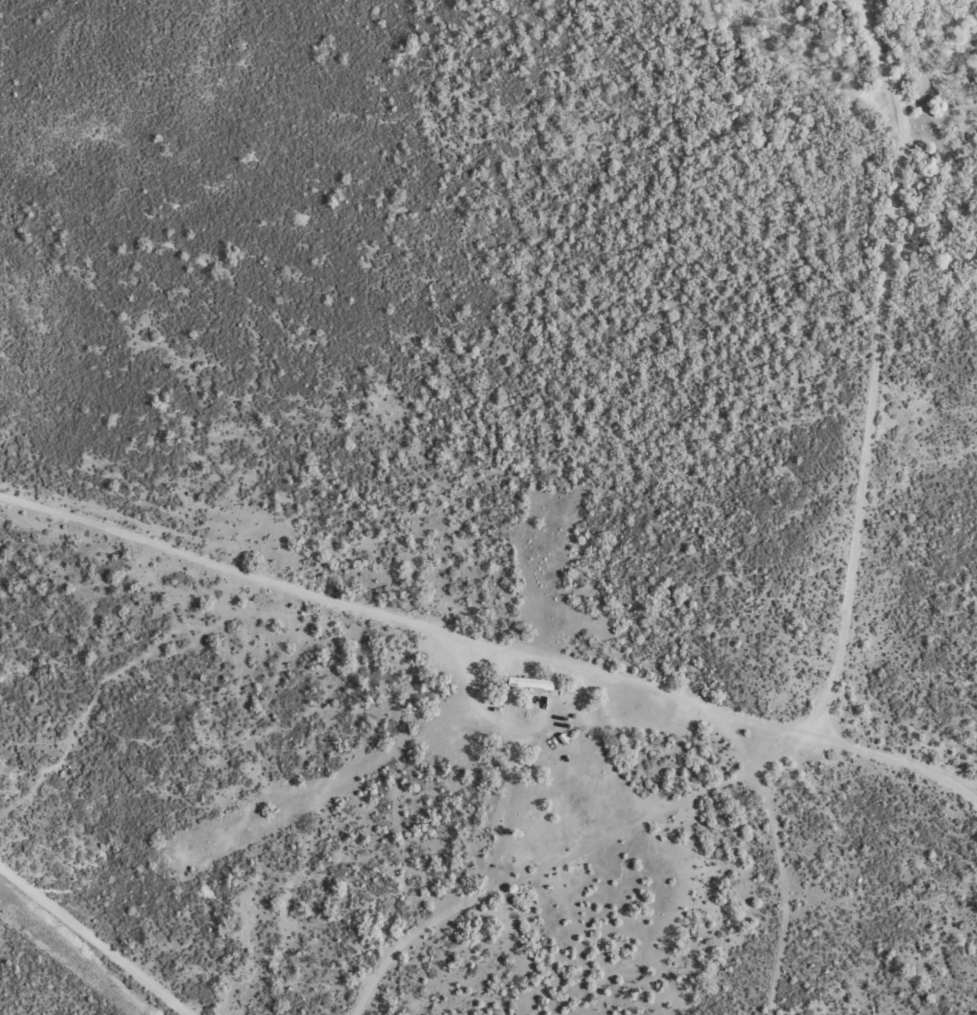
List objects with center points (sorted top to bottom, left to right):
road: (876, 0)
road: (788, 495)
road: (490, 641)
building: (533, 685)
building: (496, 721)

